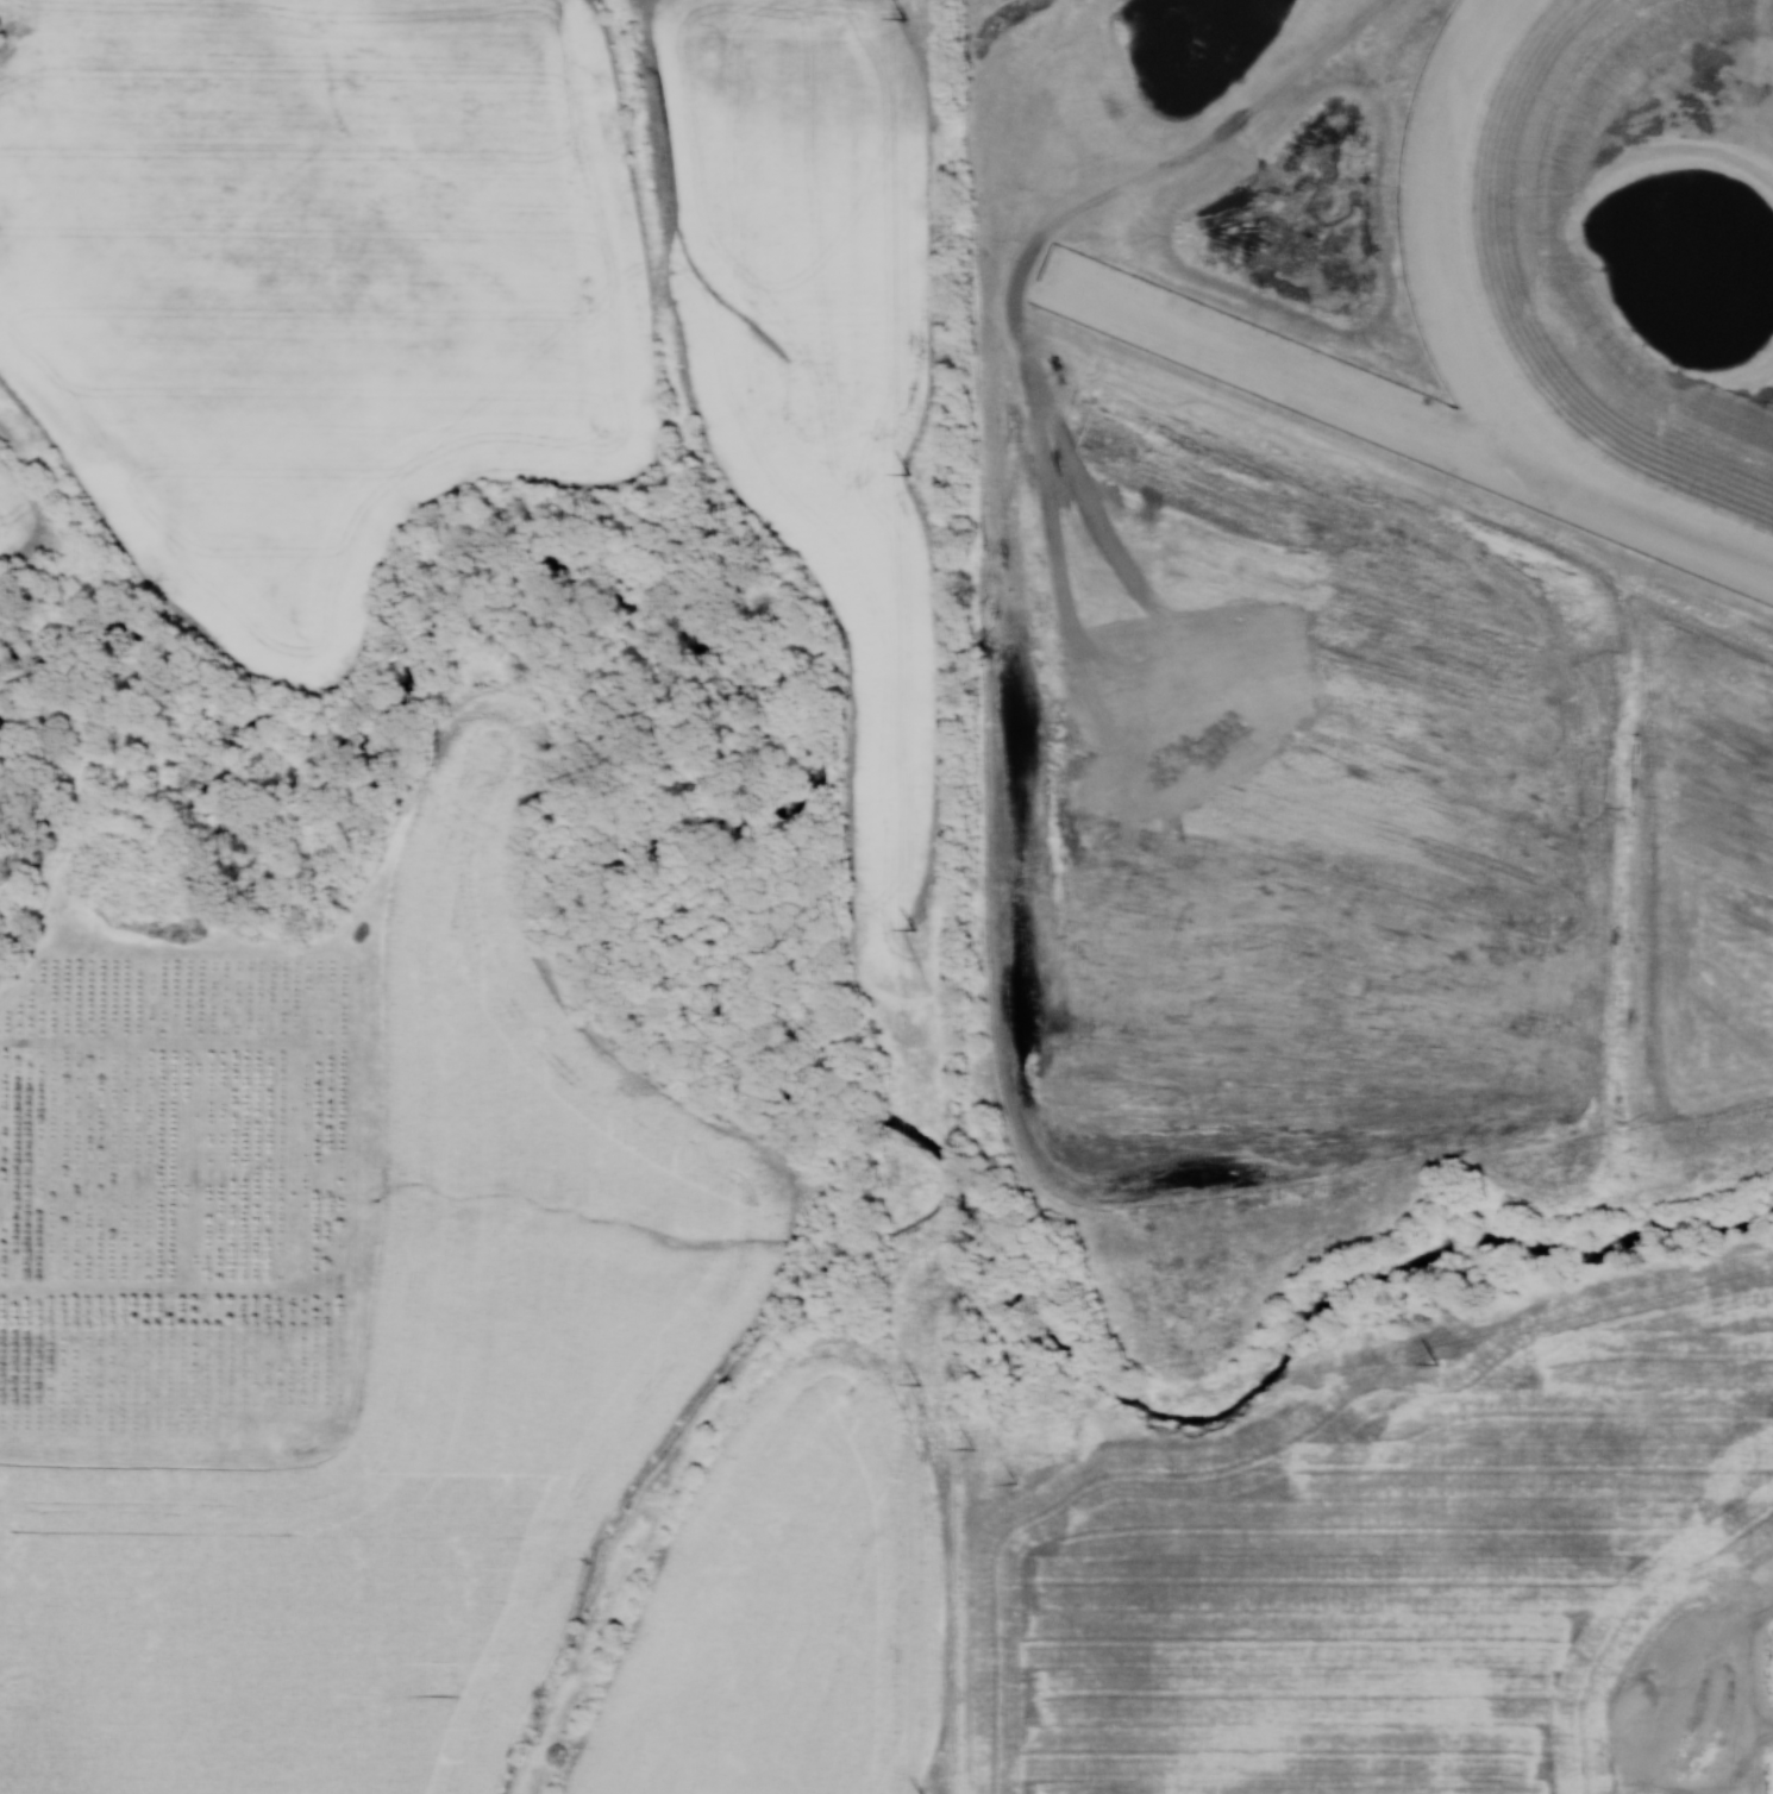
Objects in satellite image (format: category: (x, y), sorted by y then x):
power tower: (904, 17)
track: (1416, 261)
power tower: (908, 473)
power tower: (913, 928)
power tower: (1435, 1363)
power tower: (919, 1384)
power tower: (973, 1450)
power tower: (1016, 1485)

